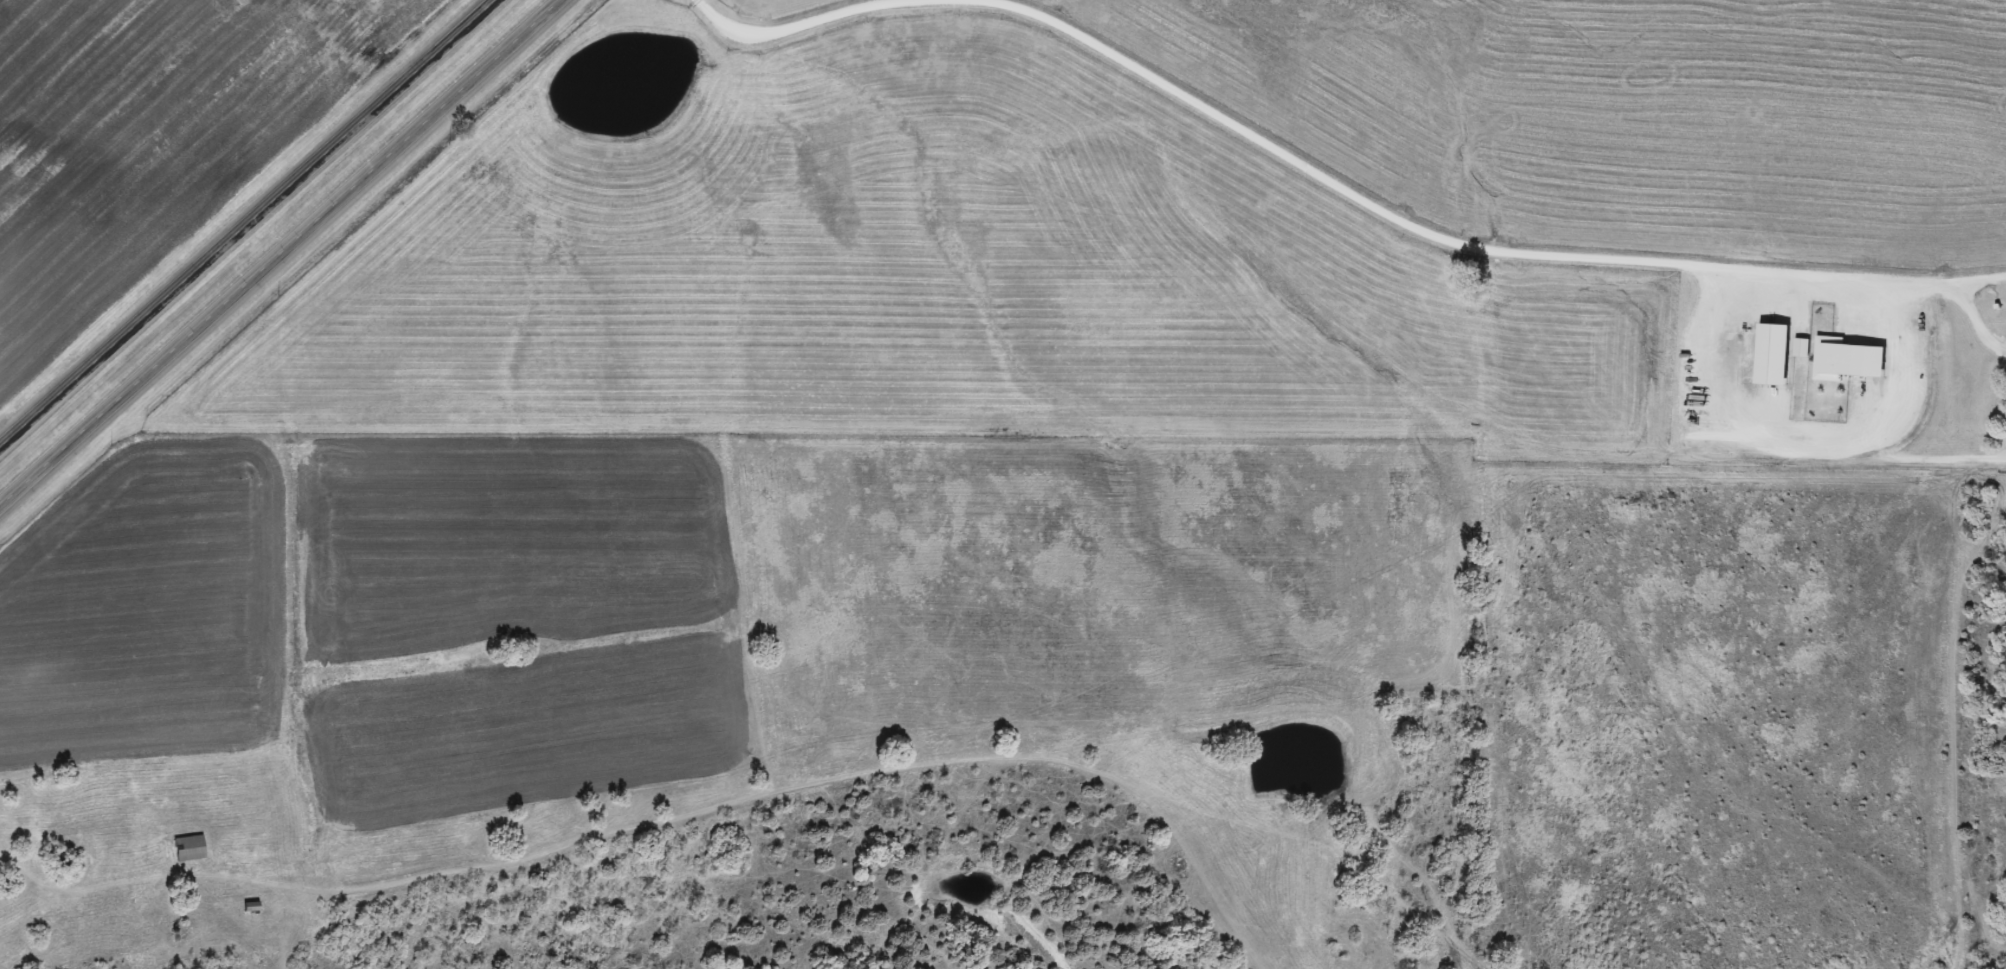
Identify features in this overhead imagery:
road: (252, 226)
road: (284, 256)
building: (188, 848)

